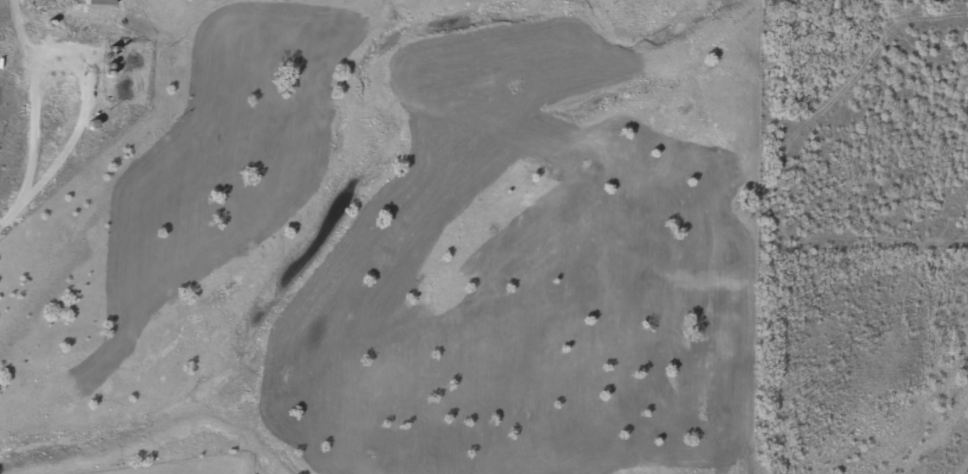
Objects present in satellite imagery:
building: (95, 2)

